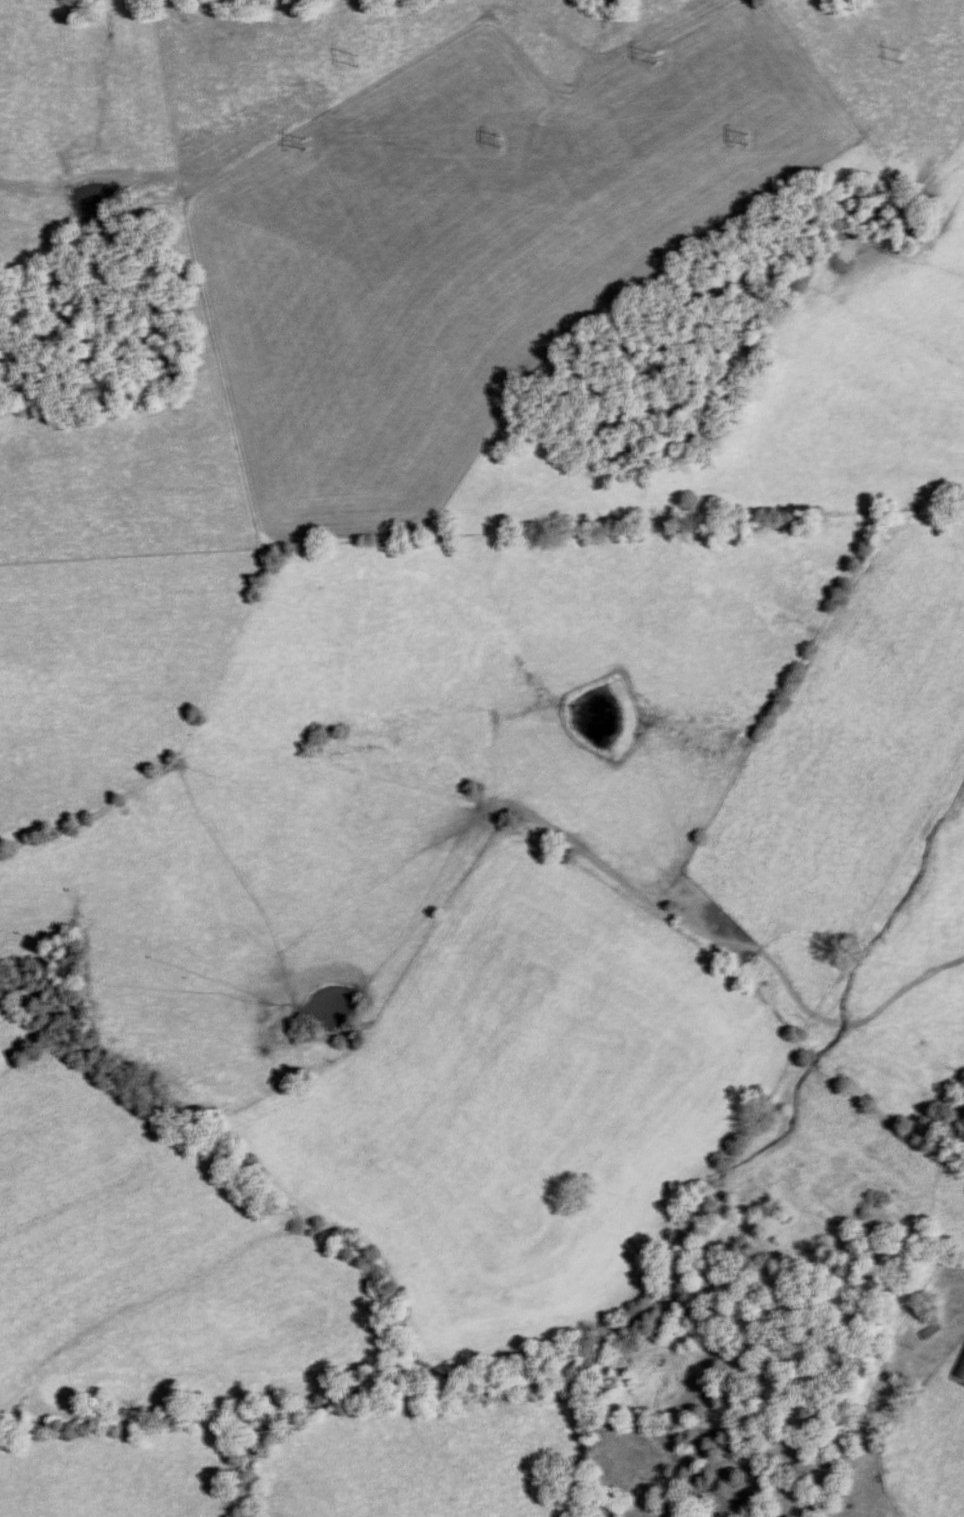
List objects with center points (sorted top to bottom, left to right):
building: (930, 1331)
building: (960, 1367)

